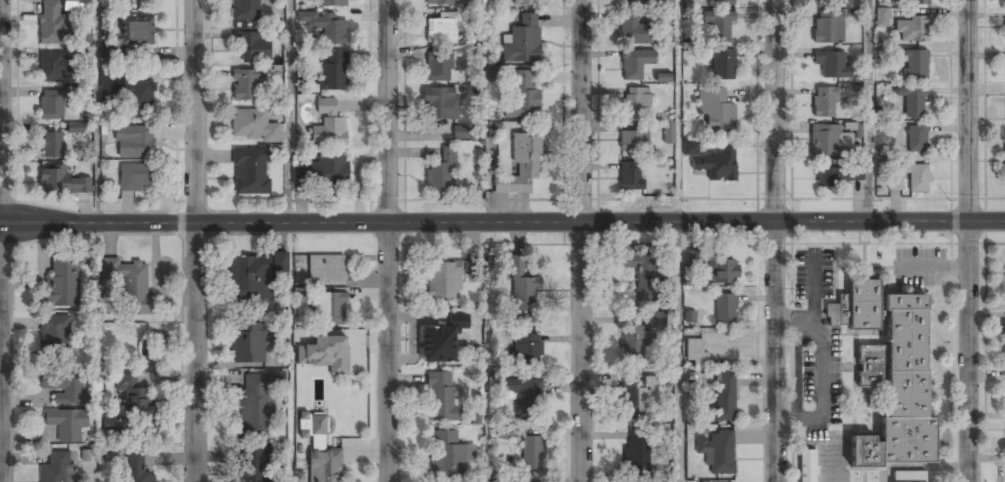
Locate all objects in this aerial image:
building: (826, 1)
building: (333, 2)
building: (444, 2)
building: (721, 2)
building: (912, 2)
building: (526, 3)
building: (638, 3)
building: (76, 6)
building: (245, 10)
building: (880, 16)
building: (308, 18)
building: (51, 22)
building: (717, 24)
building: (827, 27)
building: (1004, 27)
building: (332, 28)
building: (443, 28)
building: (910, 28)
building: (632, 30)
building: (135, 31)
building: (522, 41)
building: (254, 45)
building: (633, 62)
building: (913, 64)
building: (720, 65)
building: (831, 65)
building: (52, 66)
building: (439, 67)
building: (334, 70)
building: (660, 78)
building: (246, 85)
building: (138, 95)
building: (521, 97)
building: (911, 99)
building: (633, 102)
building: (822, 102)
building: (51, 104)
building: (440, 104)
building: (714, 109)
road: (95, 111)
road: (484, 111)
road: (868, 111)
road: (288, 112)
building: (846, 125)
building: (253, 126)
building: (328, 126)
building: (75, 127)
building: (856, 129)
building: (460, 132)
building: (666, 132)
building: (633, 138)
building: (914, 138)
building: (829, 141)
building: (133, 142)
building: (51, 145)
building: (688, 148)
building: (1003, 161)
building: (520, 165)
building: (715, 165)
building: (249, 171)
building: (328, 171)
building: (441, 173)
building: (834, 175)
building: (300, 176)
building: (627, 176)
building: (907, 176)
building: (136, 177)
building: (60, 182)
building: (877, 190)
road: (502, 223)
road: (3, 240)
road: (195, 240)
road: (775, 240)
road: (968, 240)
road: (388, 241)
road: (581, 241)
road: (676, 241)
parking lot: (919, 267)
building: (472, 268)
building: (326, 269)
building: (721, 269)
building: (644, 274)
parking lot: (812, 274)
building: (254, 275)
building: (443, 279)
building: (62, 281)
building: (129, 283)
building: (523, 288)
building: (724, 306)
building: (329, 309)
building: (688, 316)
building: (656, 320)
building: (55, 335)
building: (1003, 338)
building: (443, 339)
building: (246, 343)
building: (632, 345)
building: (527, 348)
building: (695, 353)
building: (328, 354)
building: (886, 376)
parking lot: (814, 380)
building: (64, 388)
building: (636, 394)
building: (133, 395)
building: (523, 396)
building: (441, 397)
building: (724, 397)
building: (256, 406)
building: (66, 424)
building: (504, 432)
building: (717, 452)
building: (321, 453)
building: (637, 453)
building: (532, 454)
building: (448, 455)
building: (817, 458)
building: (254, 465)
building: (57, 467)
building: (136, 468)
building: (907, 476)
building: (493, 481)

